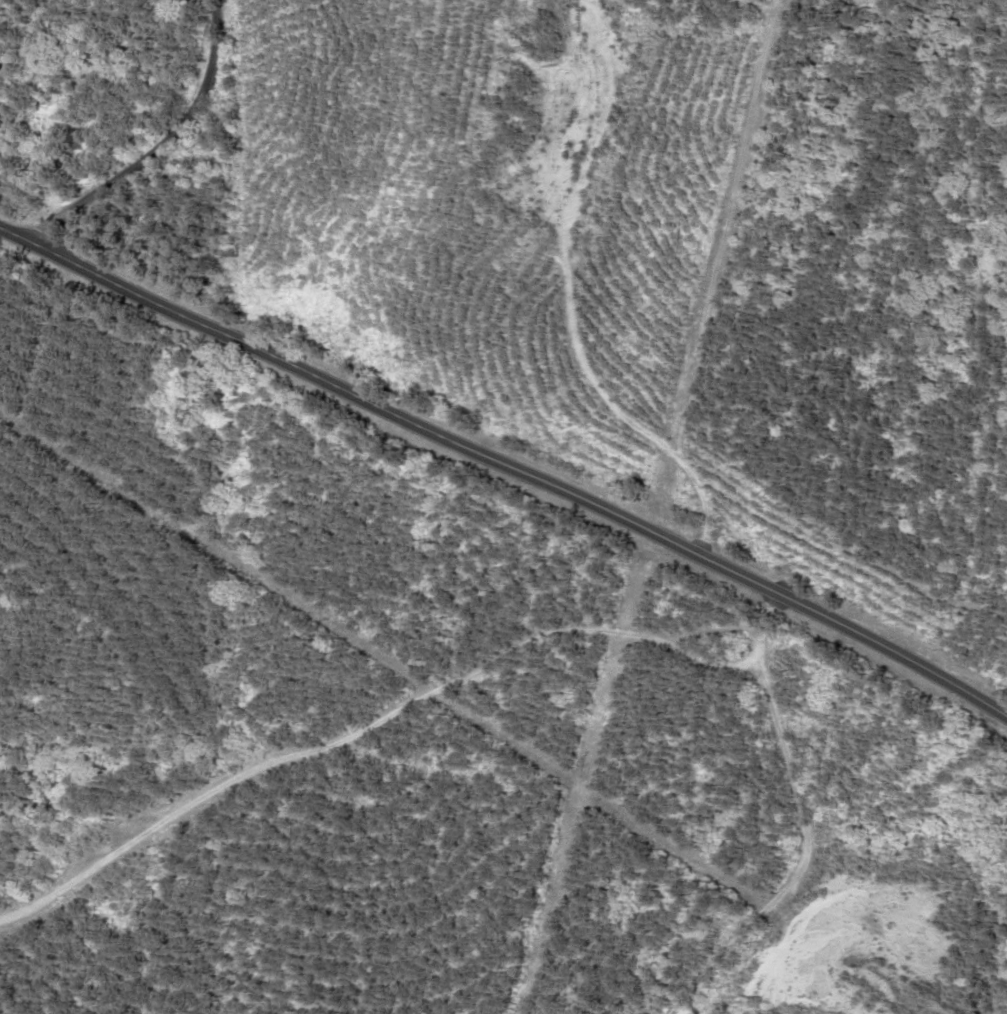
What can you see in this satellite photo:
building: (71, 135)
road: (157, 145)
road: (507, 469)

